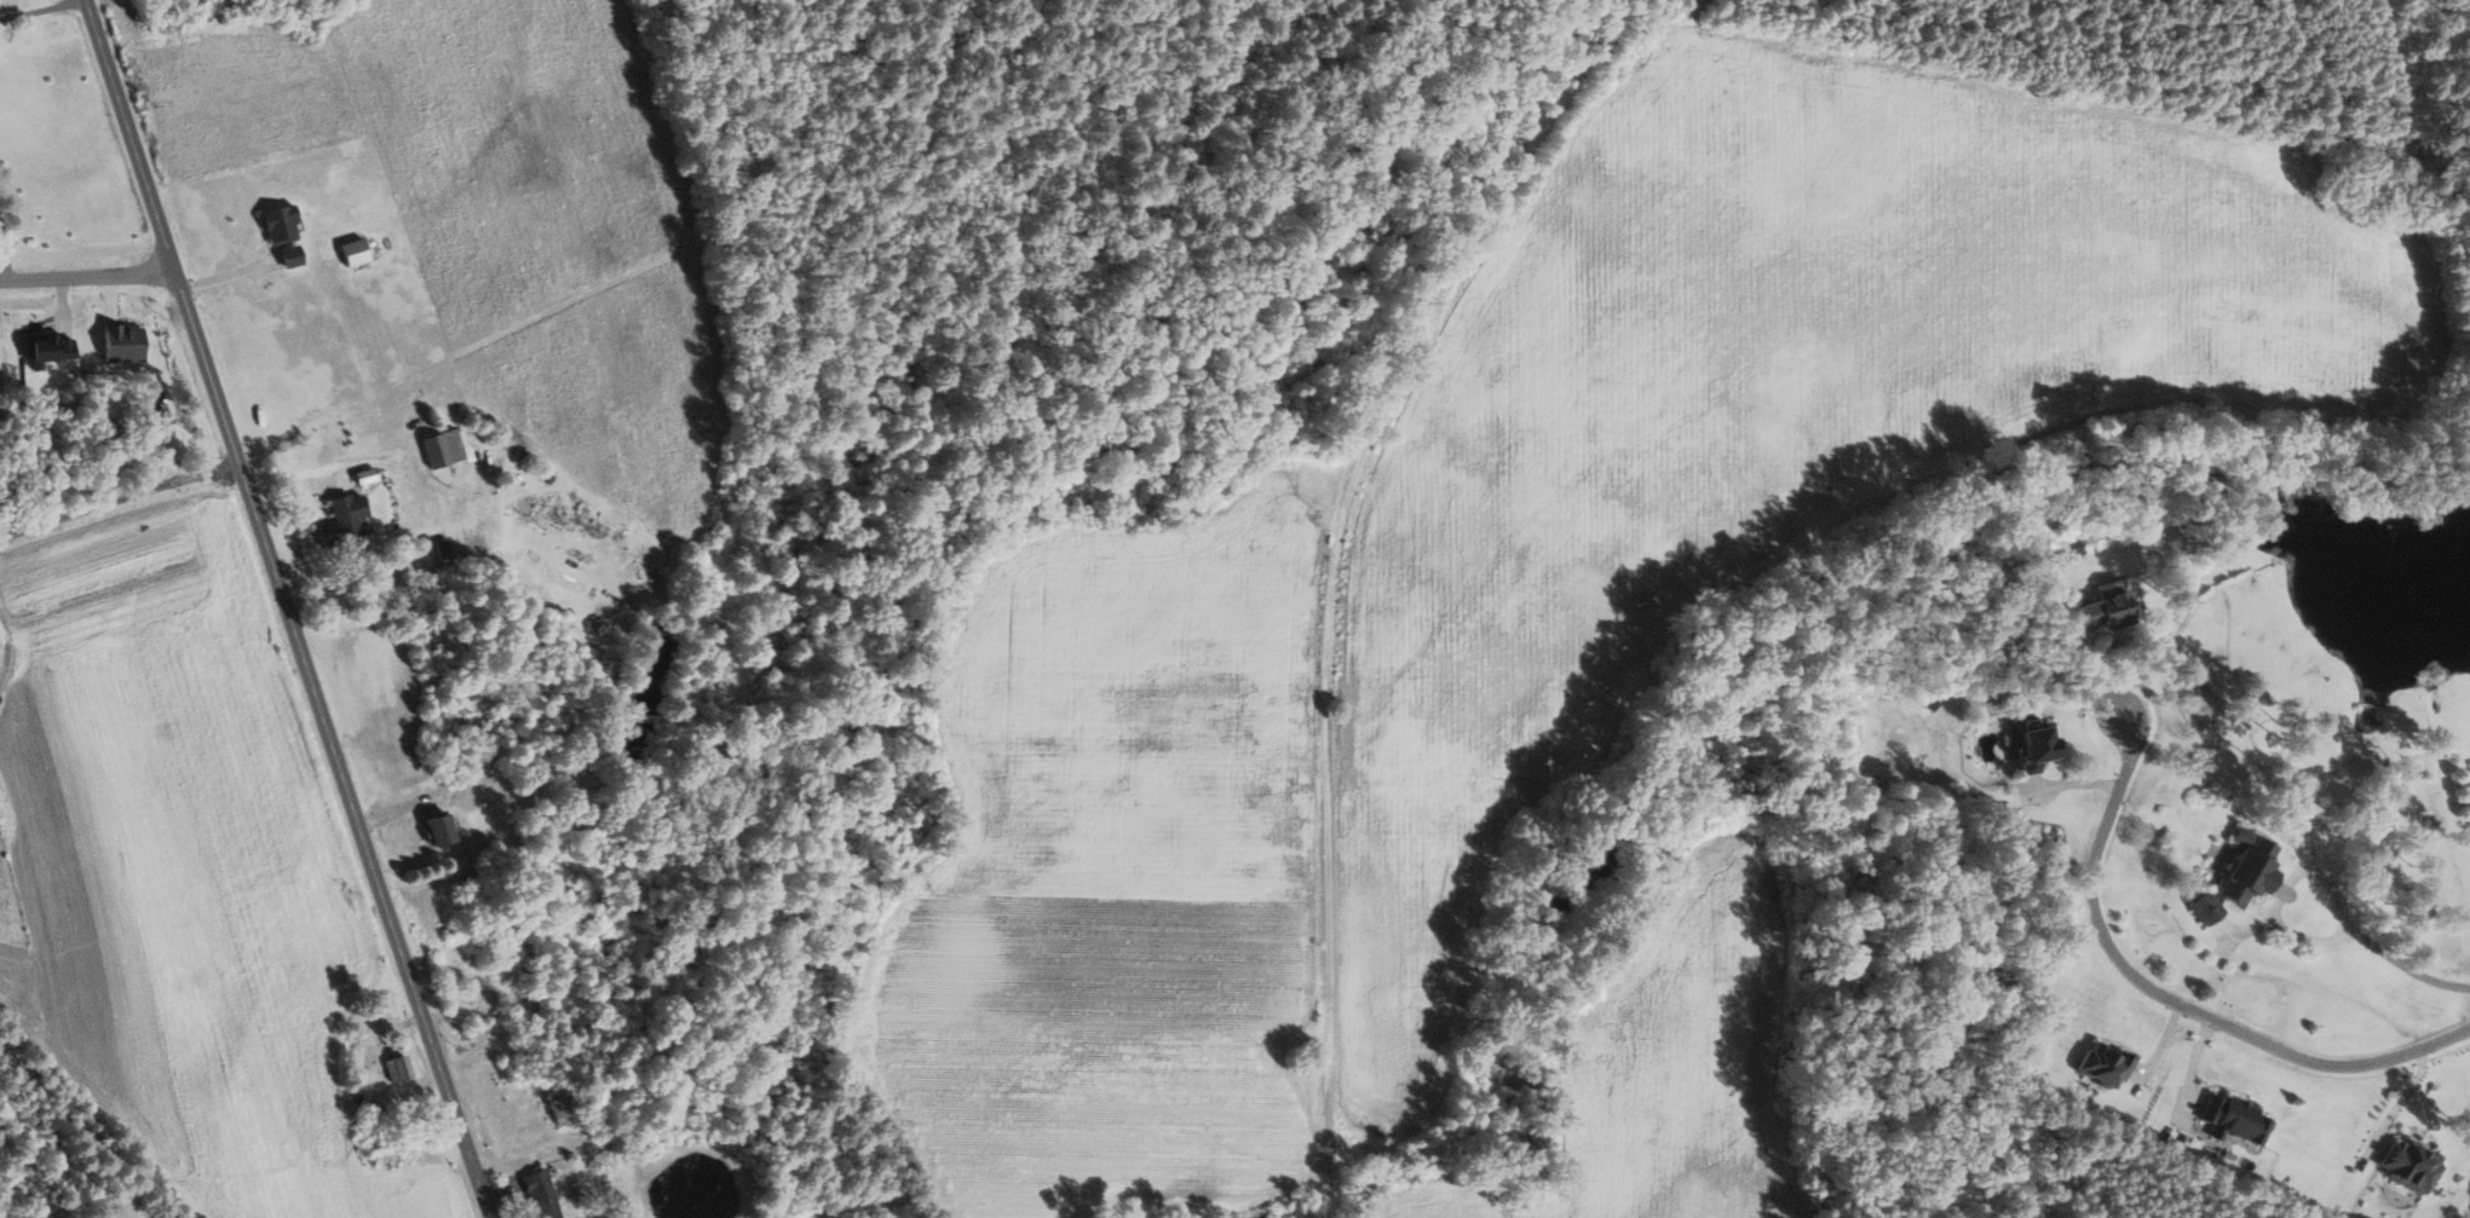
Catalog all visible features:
road: (39, 10)
road: (1573, 82)
building: (283, 232)
building: (356, 250)
road: (224, 273)
road: (84, 275)
building: (123, 342)
building: (51, 347)
building: (445, 446)
road: (115, 496)
building: (345, 519)
building: (2108, 607)
road: (281, 610)
road: (5, 643)
road: (1330, 669)
building: (2038, 744)
building: (441, 829)
building: (2242, 876)
road: (2373, 945)
road: (2170, 1001)
building: (2107, 1064)
building: (399, 1068)
building: (560, 1107)
building: (2236, 1119)
building: (2413, 1165)
building: (543, 1194)

